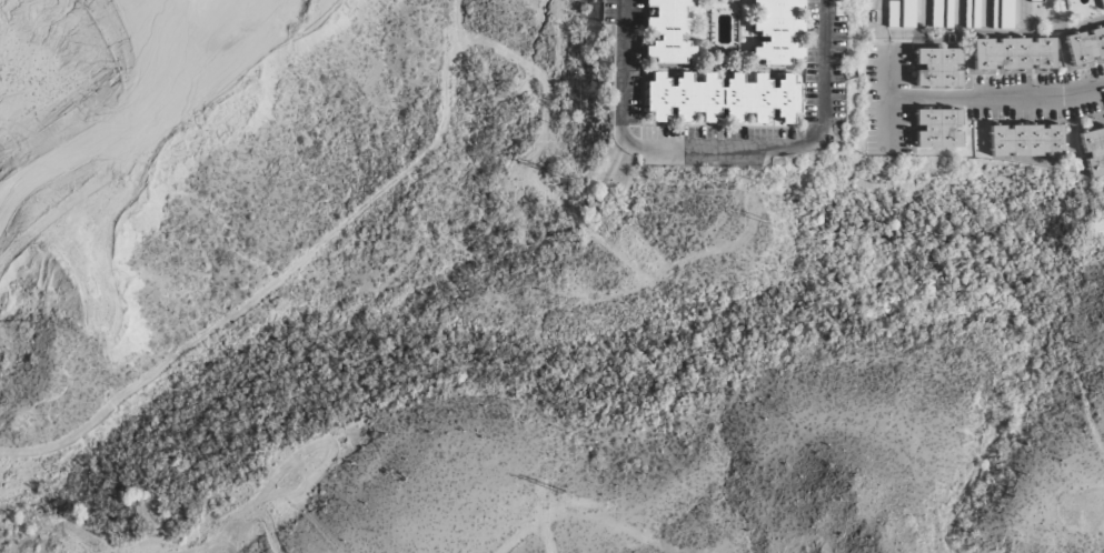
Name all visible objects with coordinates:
building: (1035, 1)
road: (877, 2)
building: (1101, 4)
building: (902, 13)
building: (942, 13)
building: (972, 14)
building: (1003, 14)
building: (669, 32)
building: (775, 33)
building: (1085, 46)
building: (1013, 54)
building: (938, 68)
road: (996, 97)
building: (723, 98)
road: (886, 99)
building: (937, 128)
building: (1025, 141)
road: (723, 149)
building: (1093, 151)
power tower: (561, 170)
road: (282, 272)
power tower: (561, 492)
road: (235, 514)
road: (527, 530)

